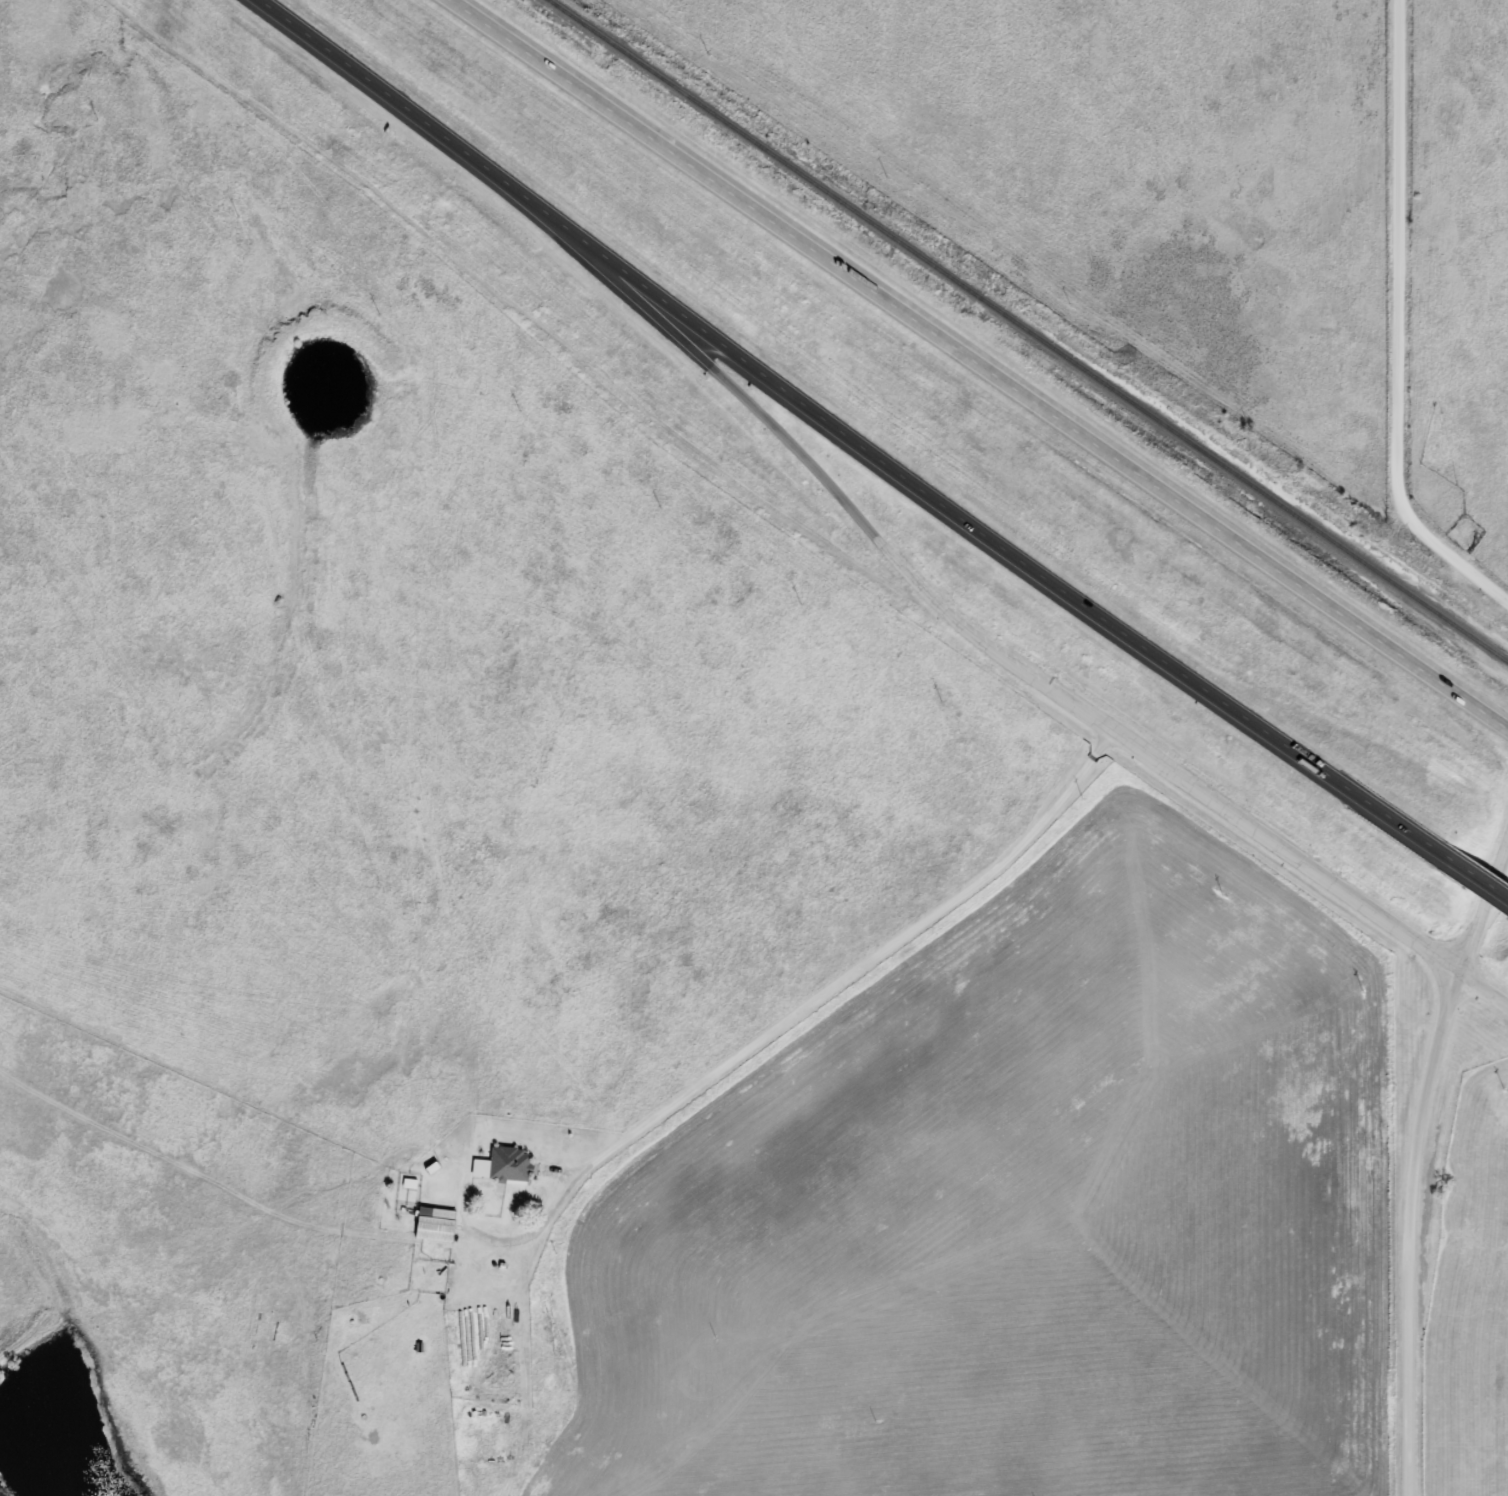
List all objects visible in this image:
road: (1400, 321)
railway: (1027, 332)
road: (984, 362)
road: (844, 430)
road: (795, 438)
road: (1254, 829)
road: (1471, 875)
road: (1486, 986)
road: (781, 1004)
road: (613, 1144)
building: (501, 1166)
road: (1417, 1166)
building: (433, 1225)

